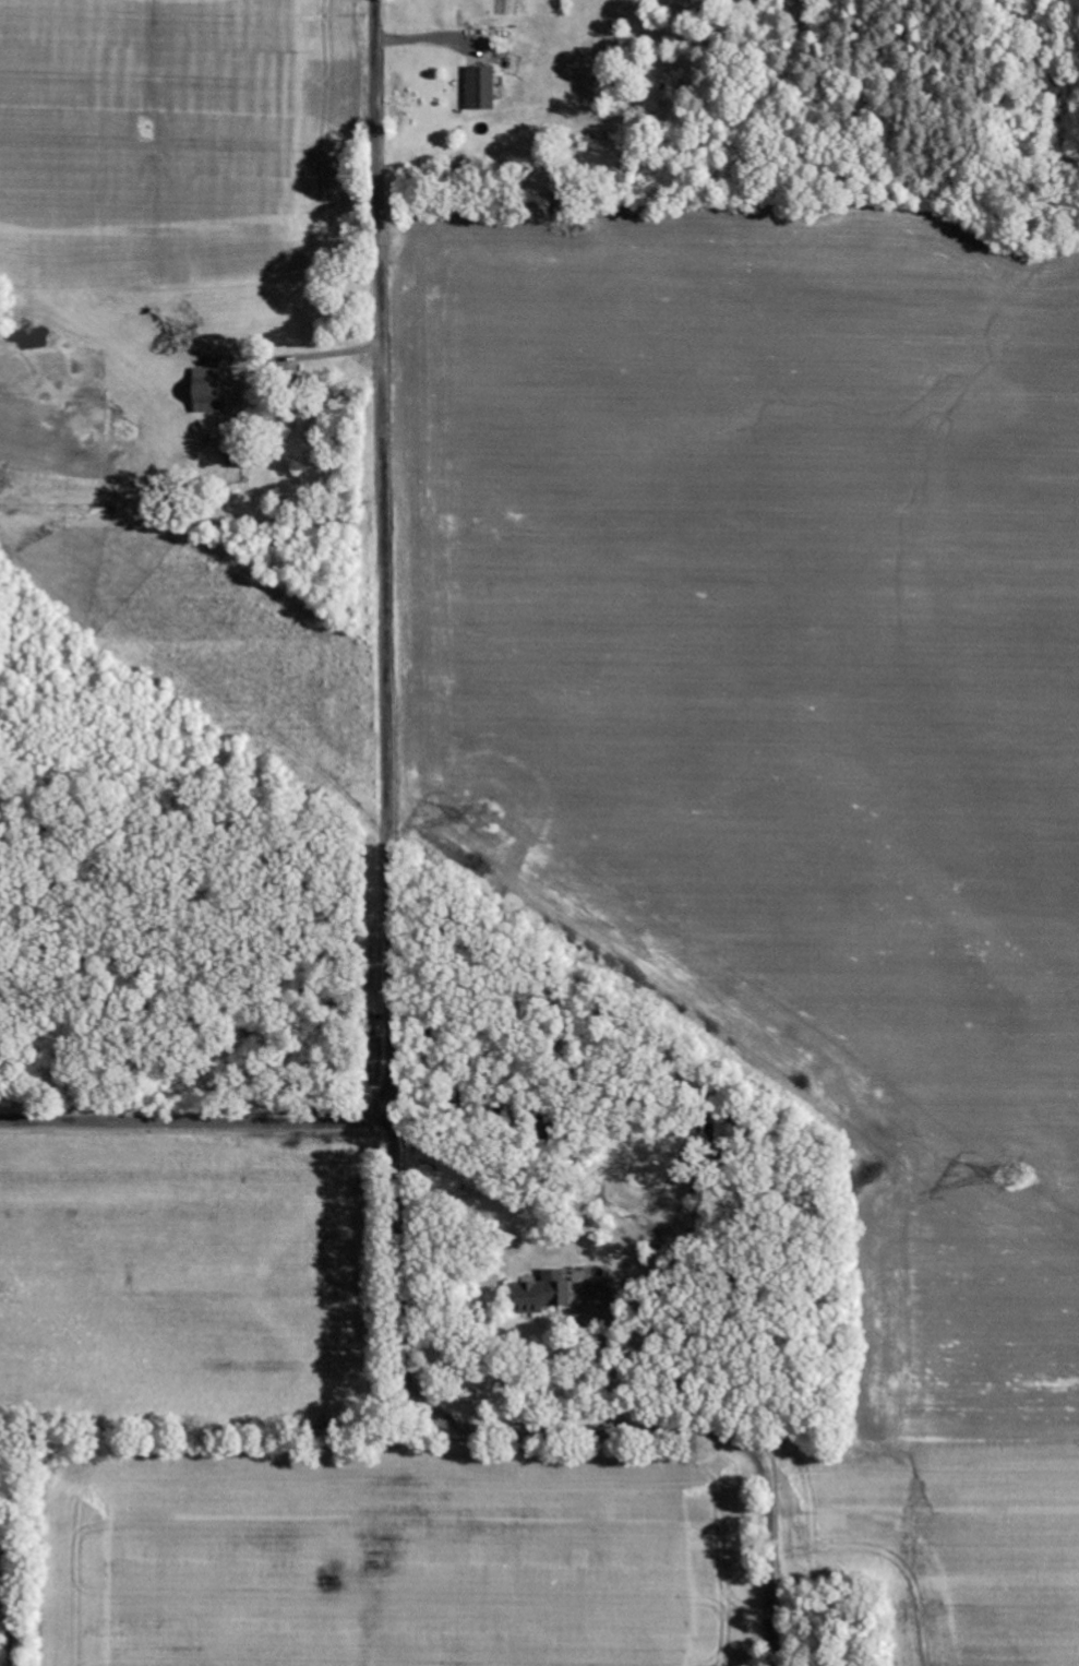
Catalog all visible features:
building: (481, 88)
road: (305, 242)
building: (207, 391)
power tower: (484, 813)
road: (389, 977)
road: (196, 1121)
power tower: (1009, 1167)
building: (543, 1294)

